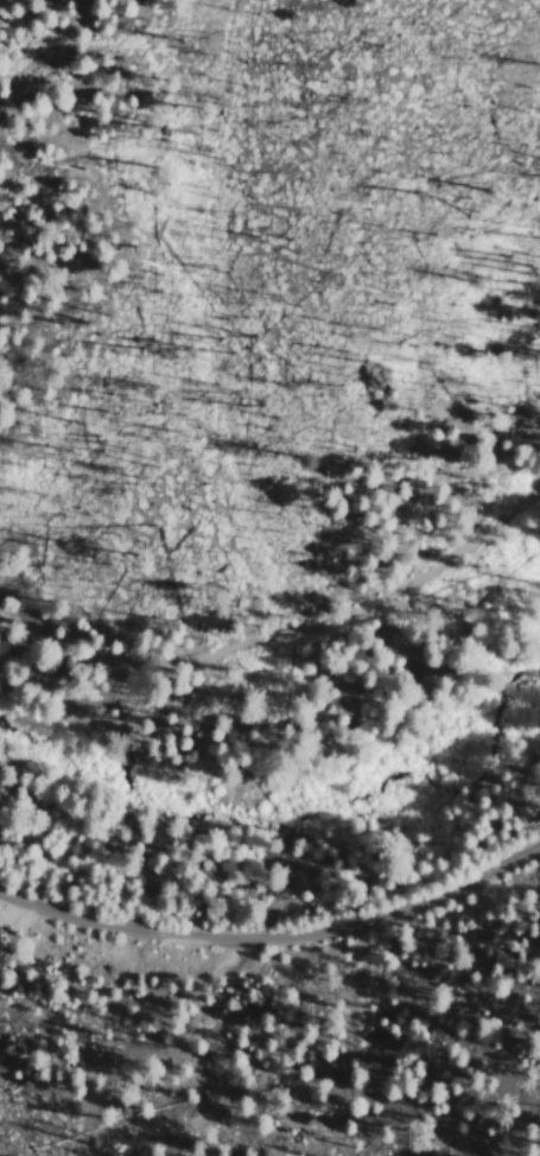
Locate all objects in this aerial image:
road: (279, 550)
road: (272, 935)

